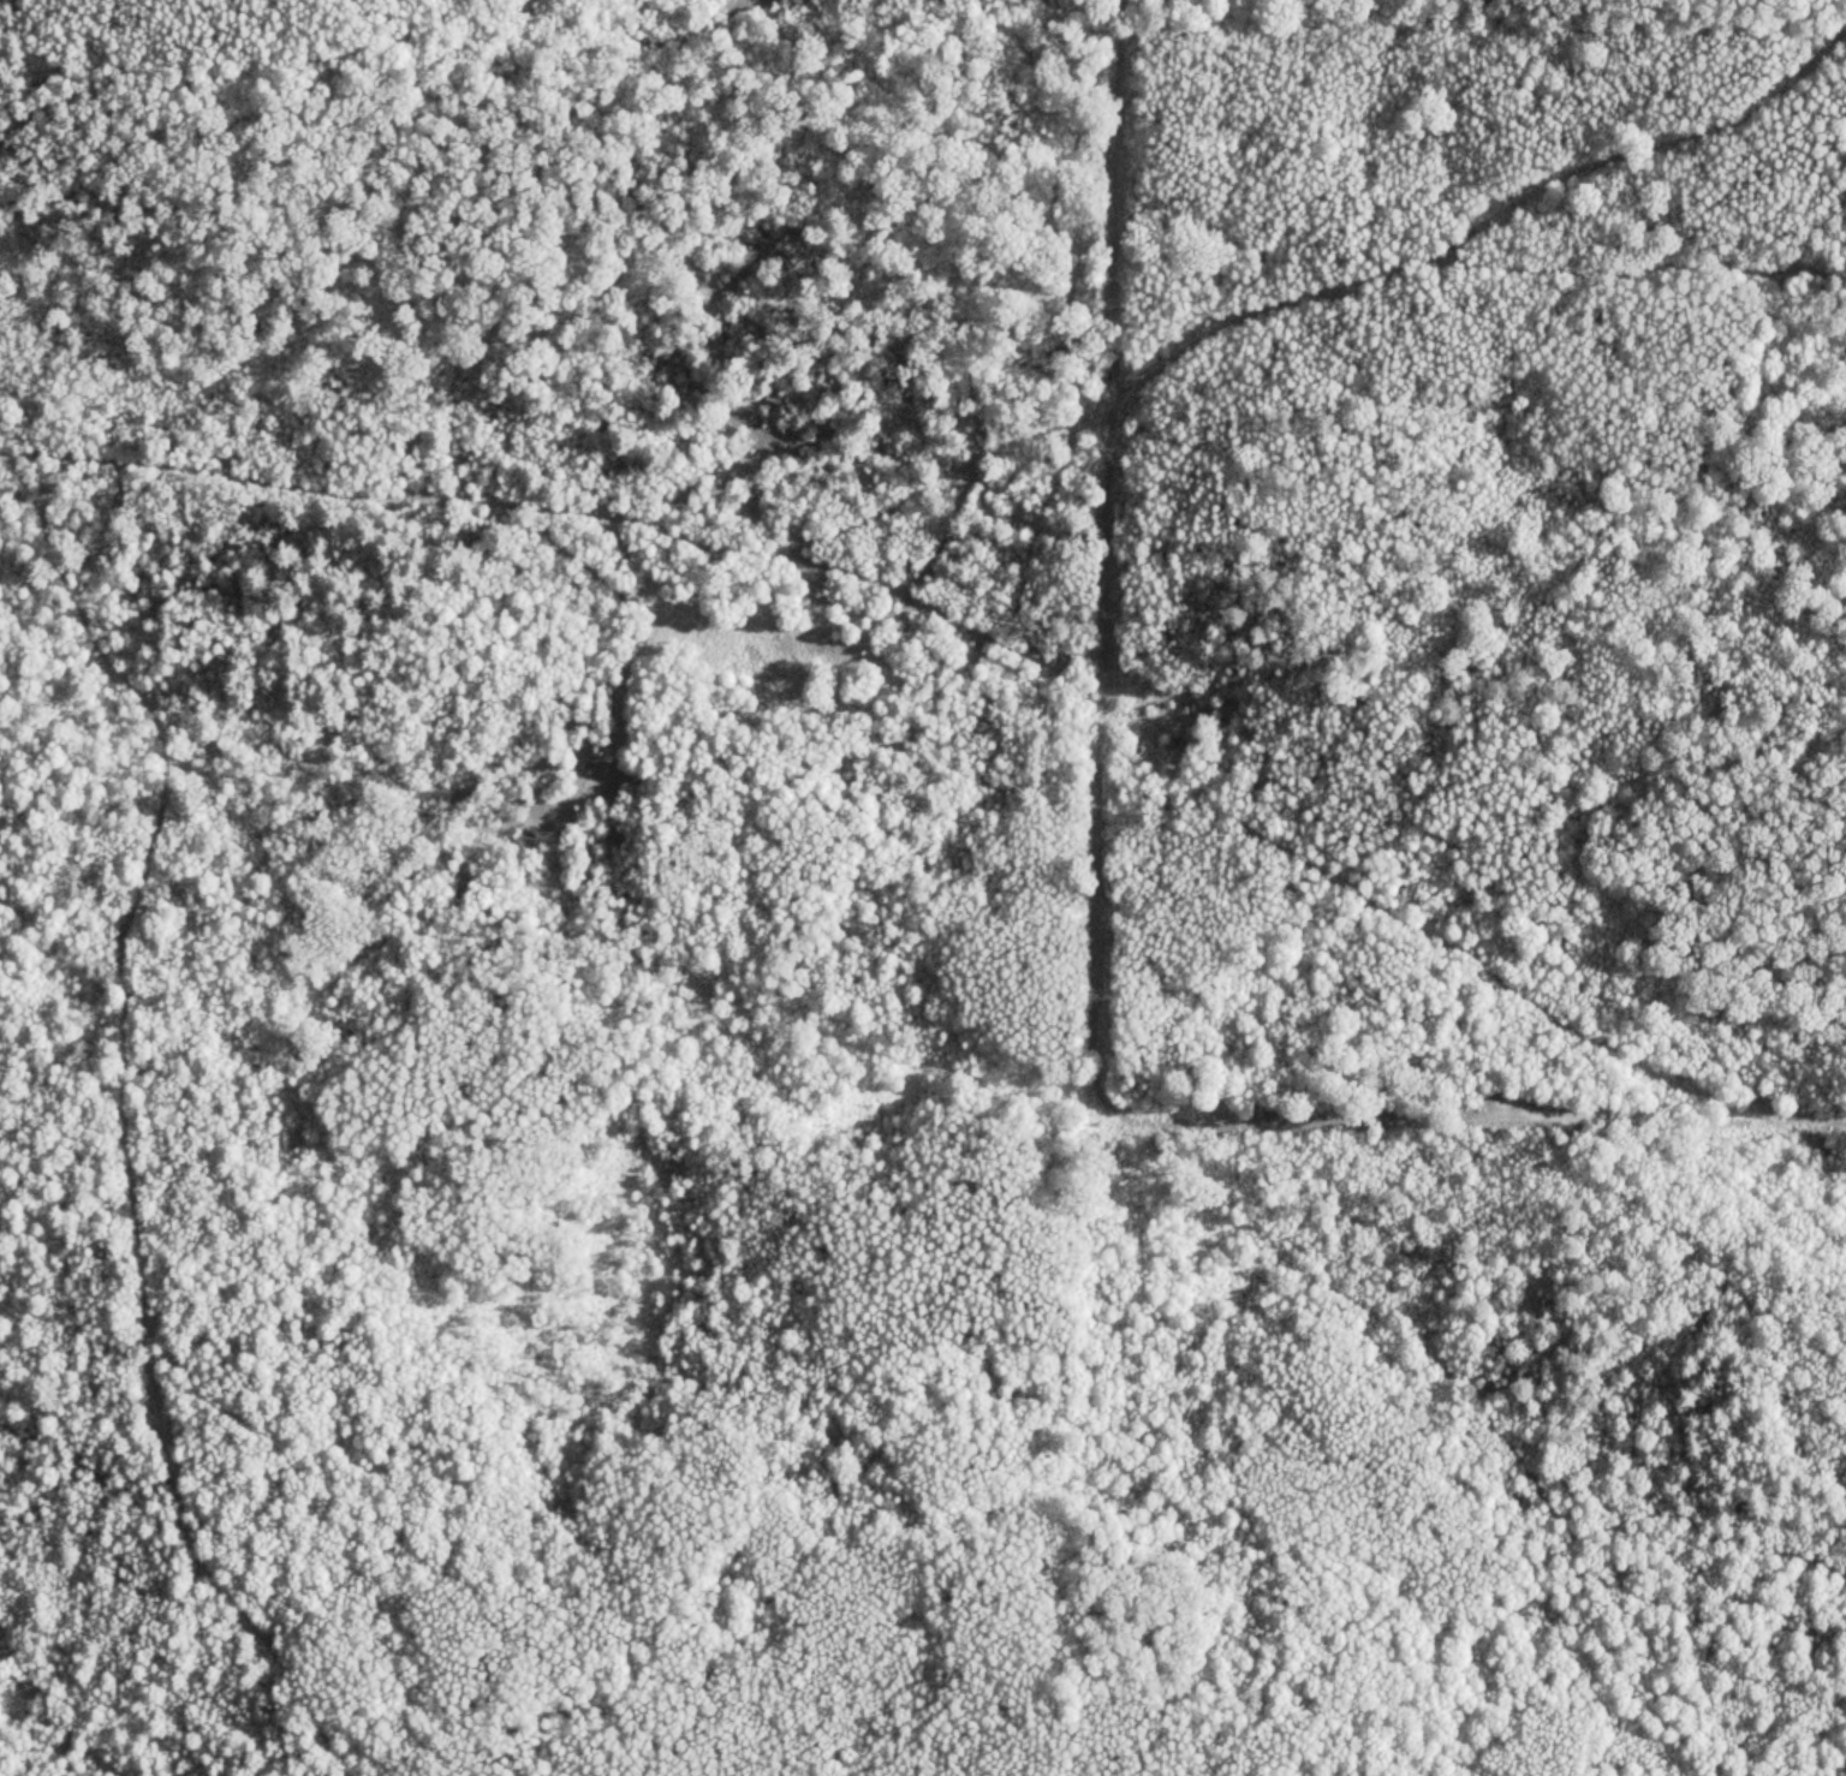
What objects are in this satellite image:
road: (984, 634)
road: (124, 1118)

